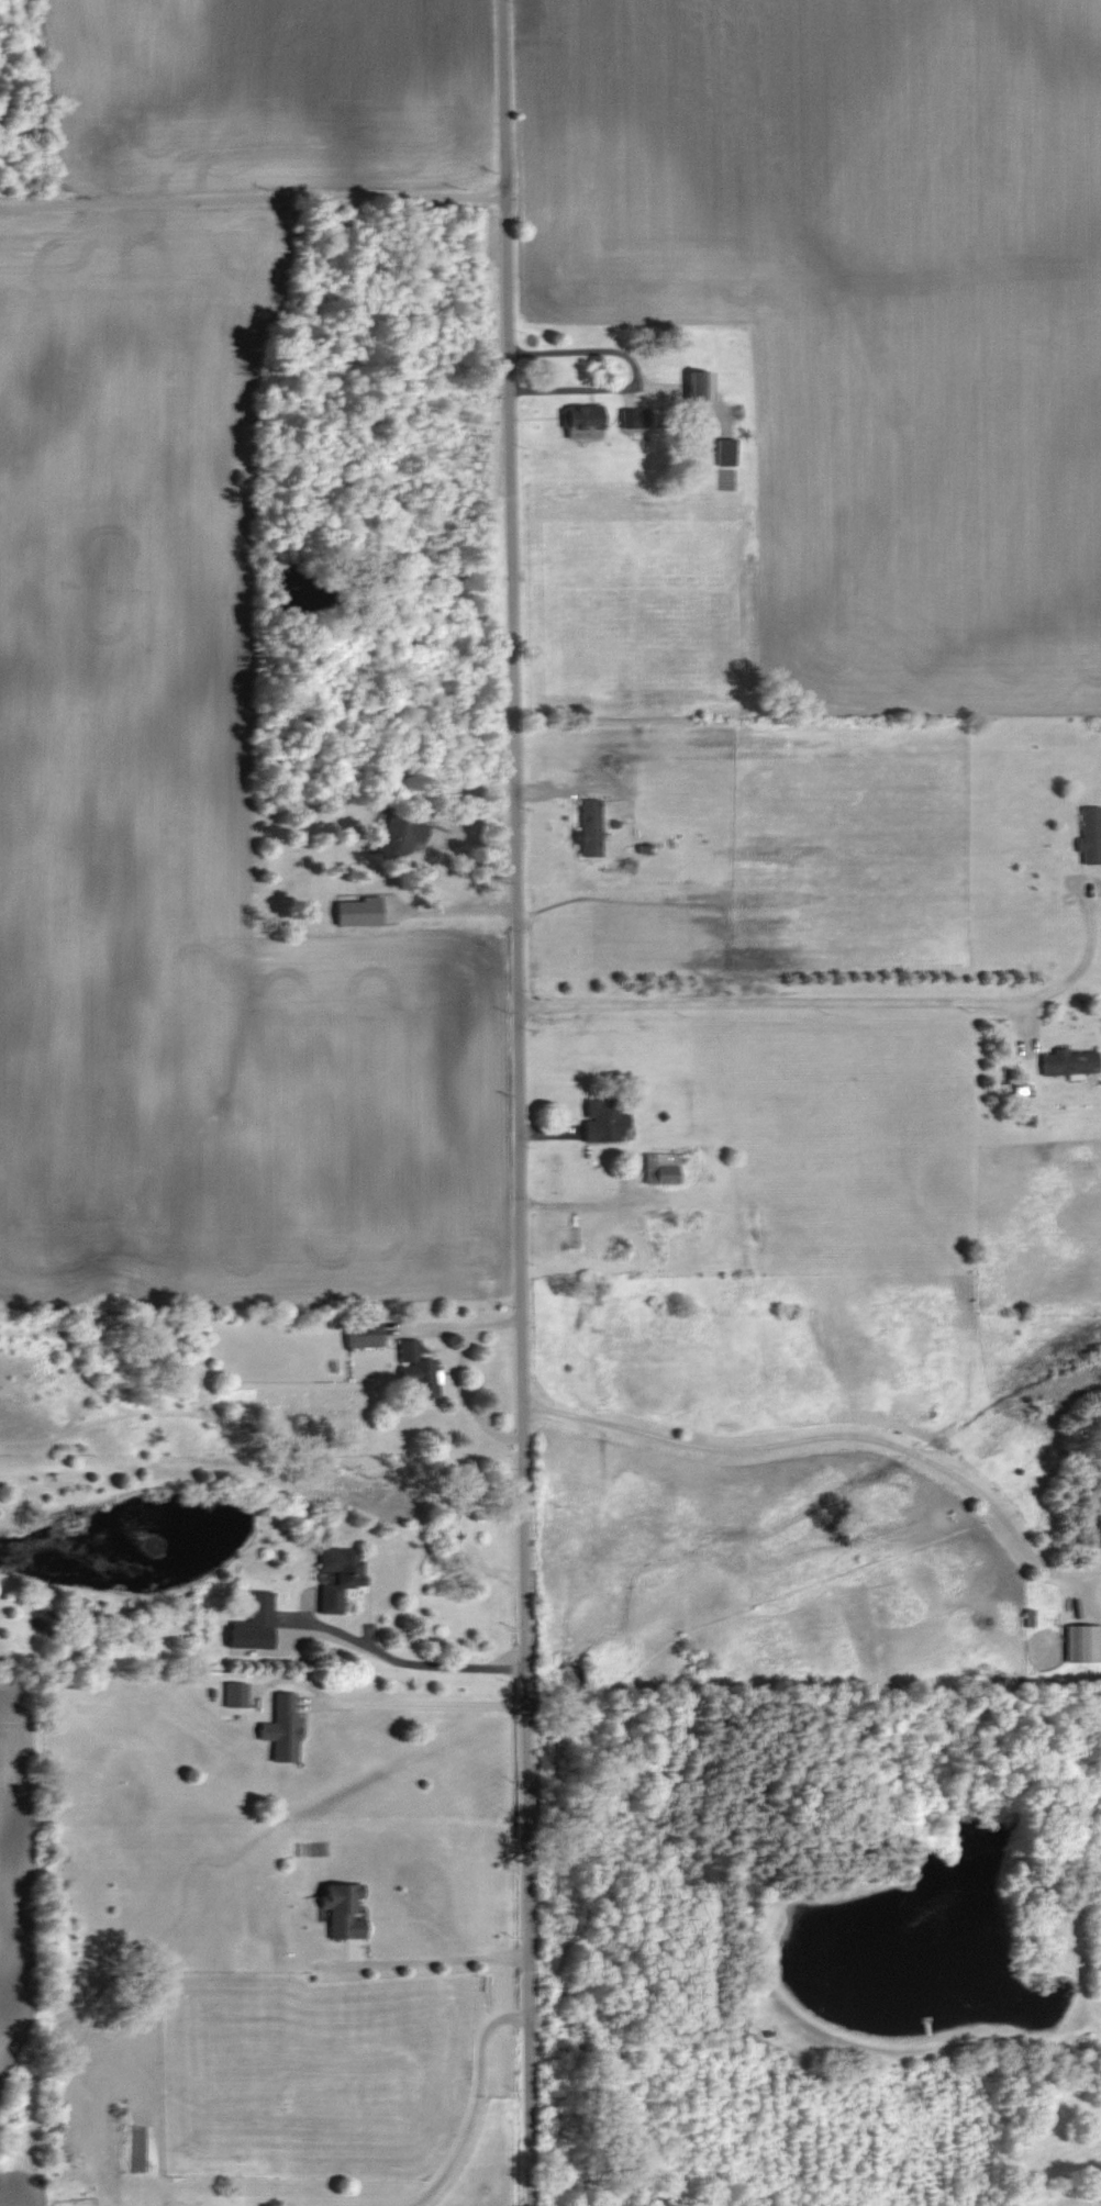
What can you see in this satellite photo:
road: (253, 200)
building: (694, 383)
building: (632, 416)
building: (578, 419)
building: (723, 452)
building: (587, 827)
building: (1088, 835)
building: (397, 836)
building: (354, 910)
road: (843, 1000)
building: (1065, 1061)
road: (519, 1102)
building: (601, 1121)
building: (655, 1168)
building: (359, 1329)
building: (412, 1369)
road: (830, 1422)
building: (334, 1576)
building: (256, 1612)
building: (1081, 1644)
road: (419, 1659)
building: (232, 1695)
road: (420, 1701)
building: (277, 1729)
building: (338, 1910)
road: (442, 1957)
road: (480, 2106)

